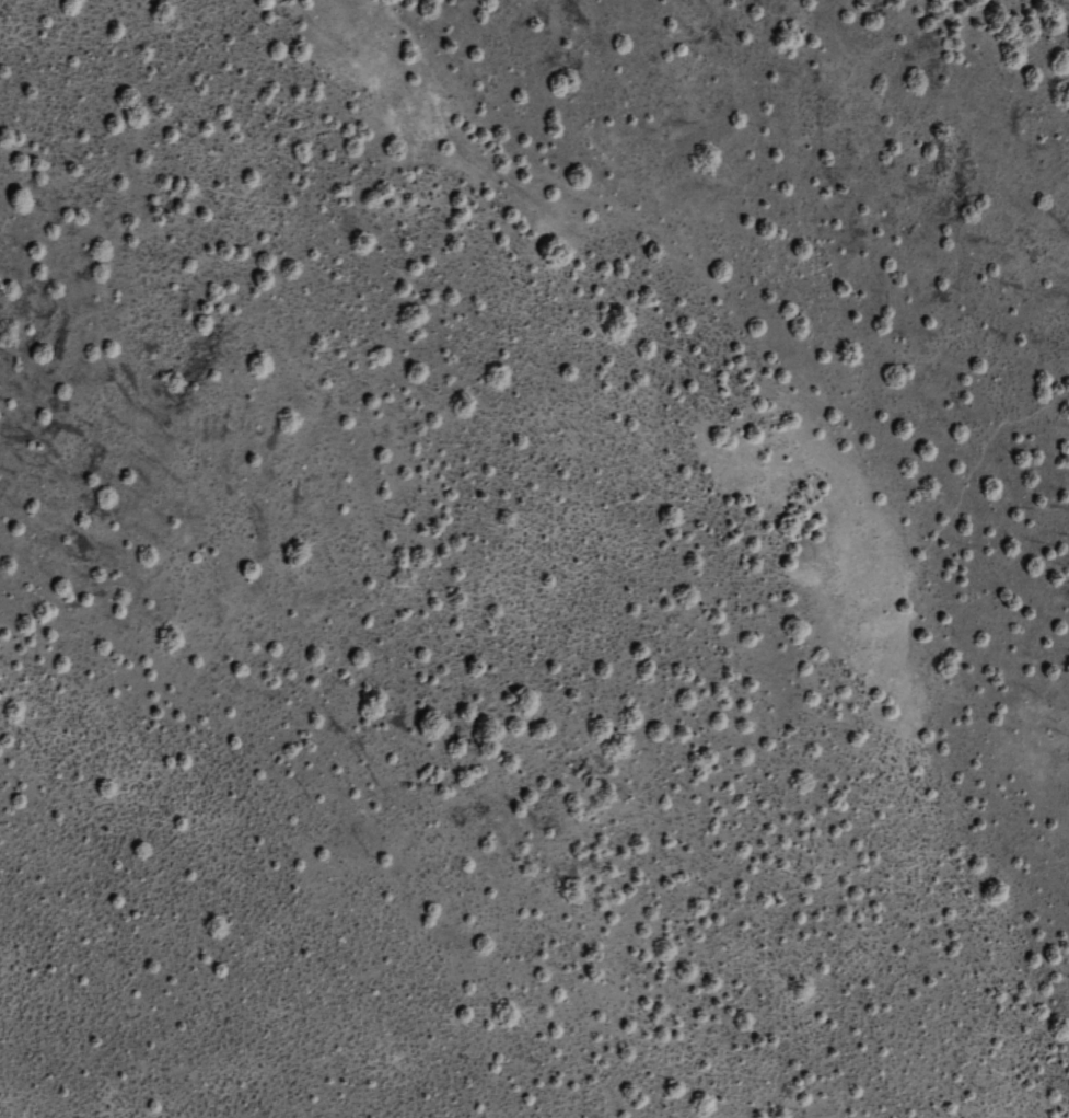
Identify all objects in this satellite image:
road: (1056, 4)

